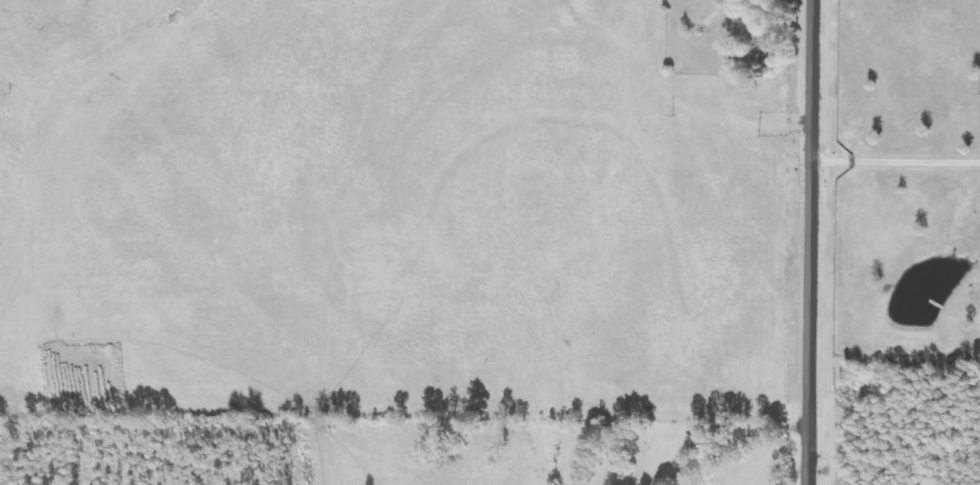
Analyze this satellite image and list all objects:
road: (810, 242)

